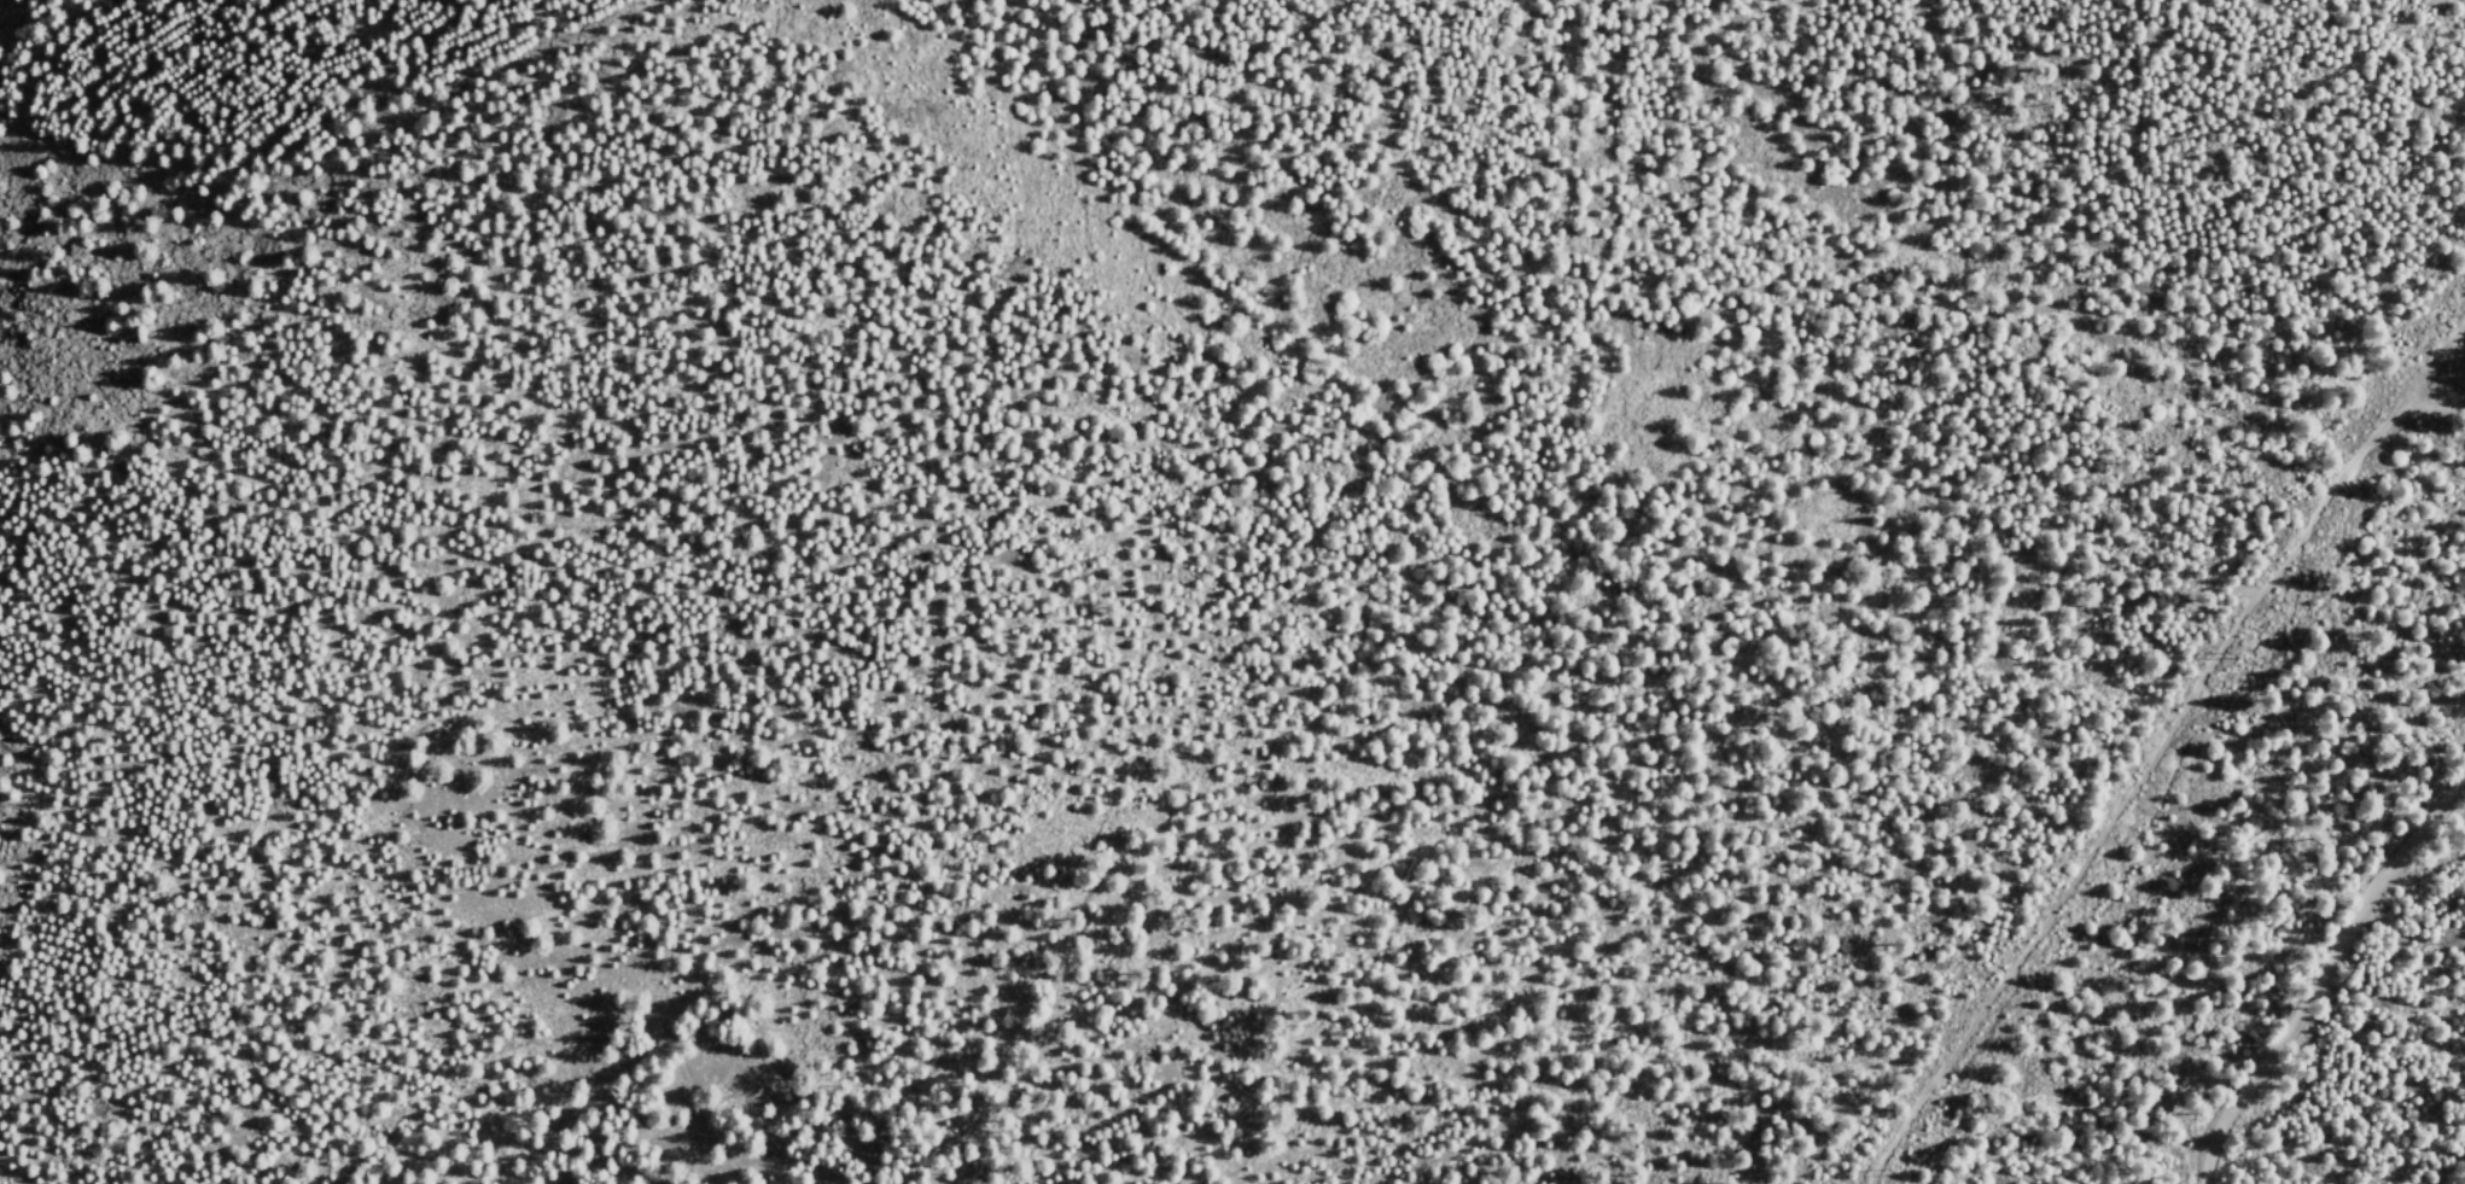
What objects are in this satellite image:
road: (2435, 358)
power tower: (2228, 655)
road: (2139, 759)
road: (2325, 973)
power tower: (1886, 1171)

